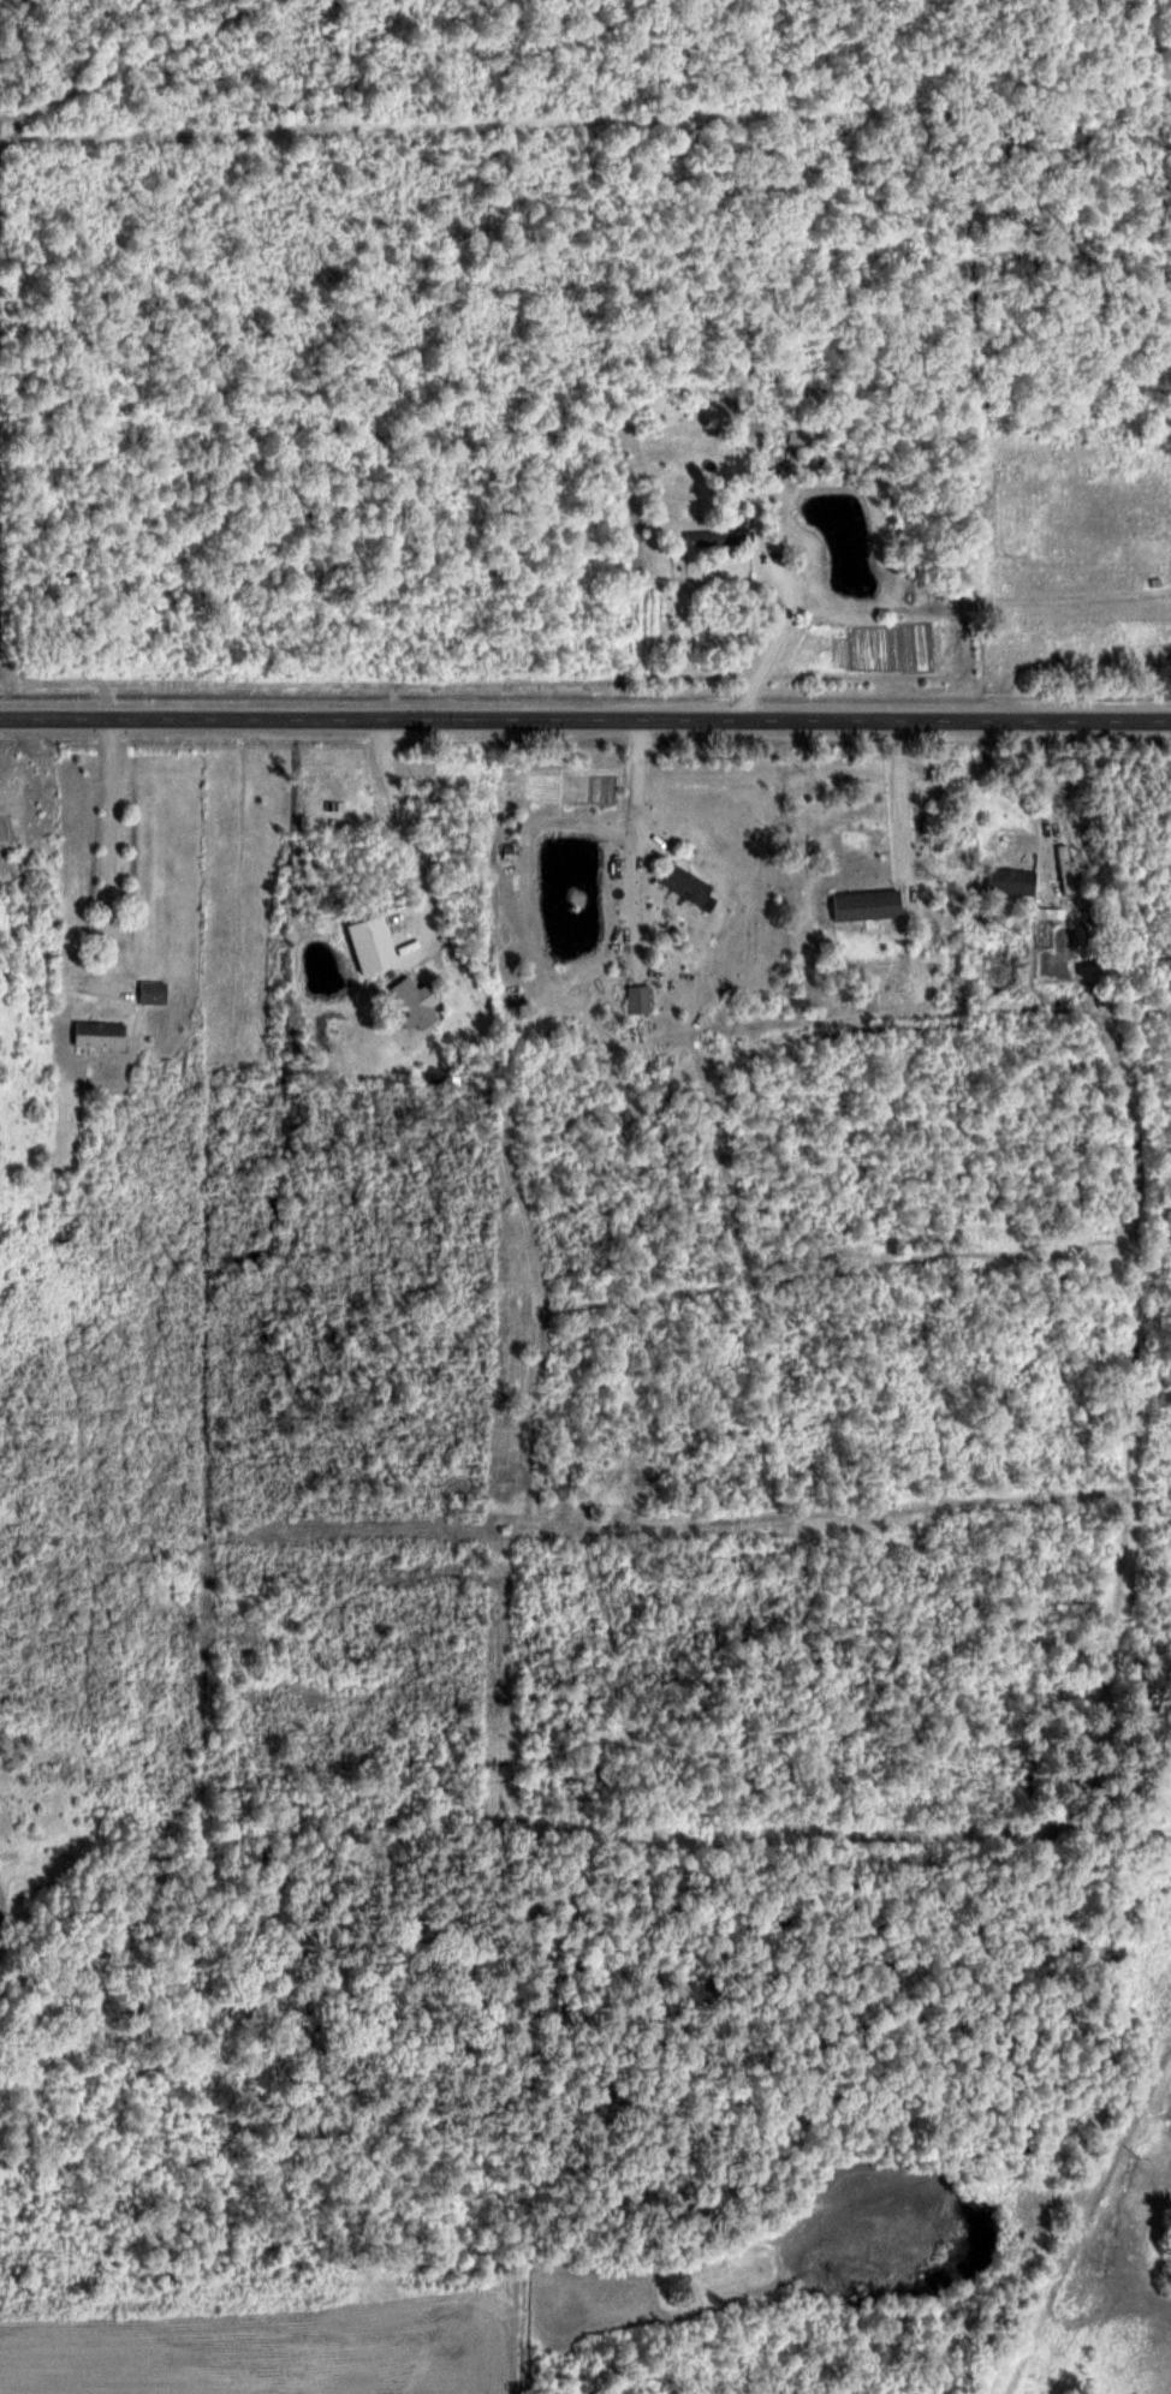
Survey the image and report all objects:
building: (720, 540)
road: (772, 638)
road: (585, 721)
road: (1040, 790)
road: (896, 804)
road: (629, 826)
road: (399, 835)
road: (106, 854)
building: (1011, 881)
building: (688, 887)
building: (866, 905)
building: (153, 993)
building: (637, 999)
building: (409, 1005)
building: (99, 1035)

